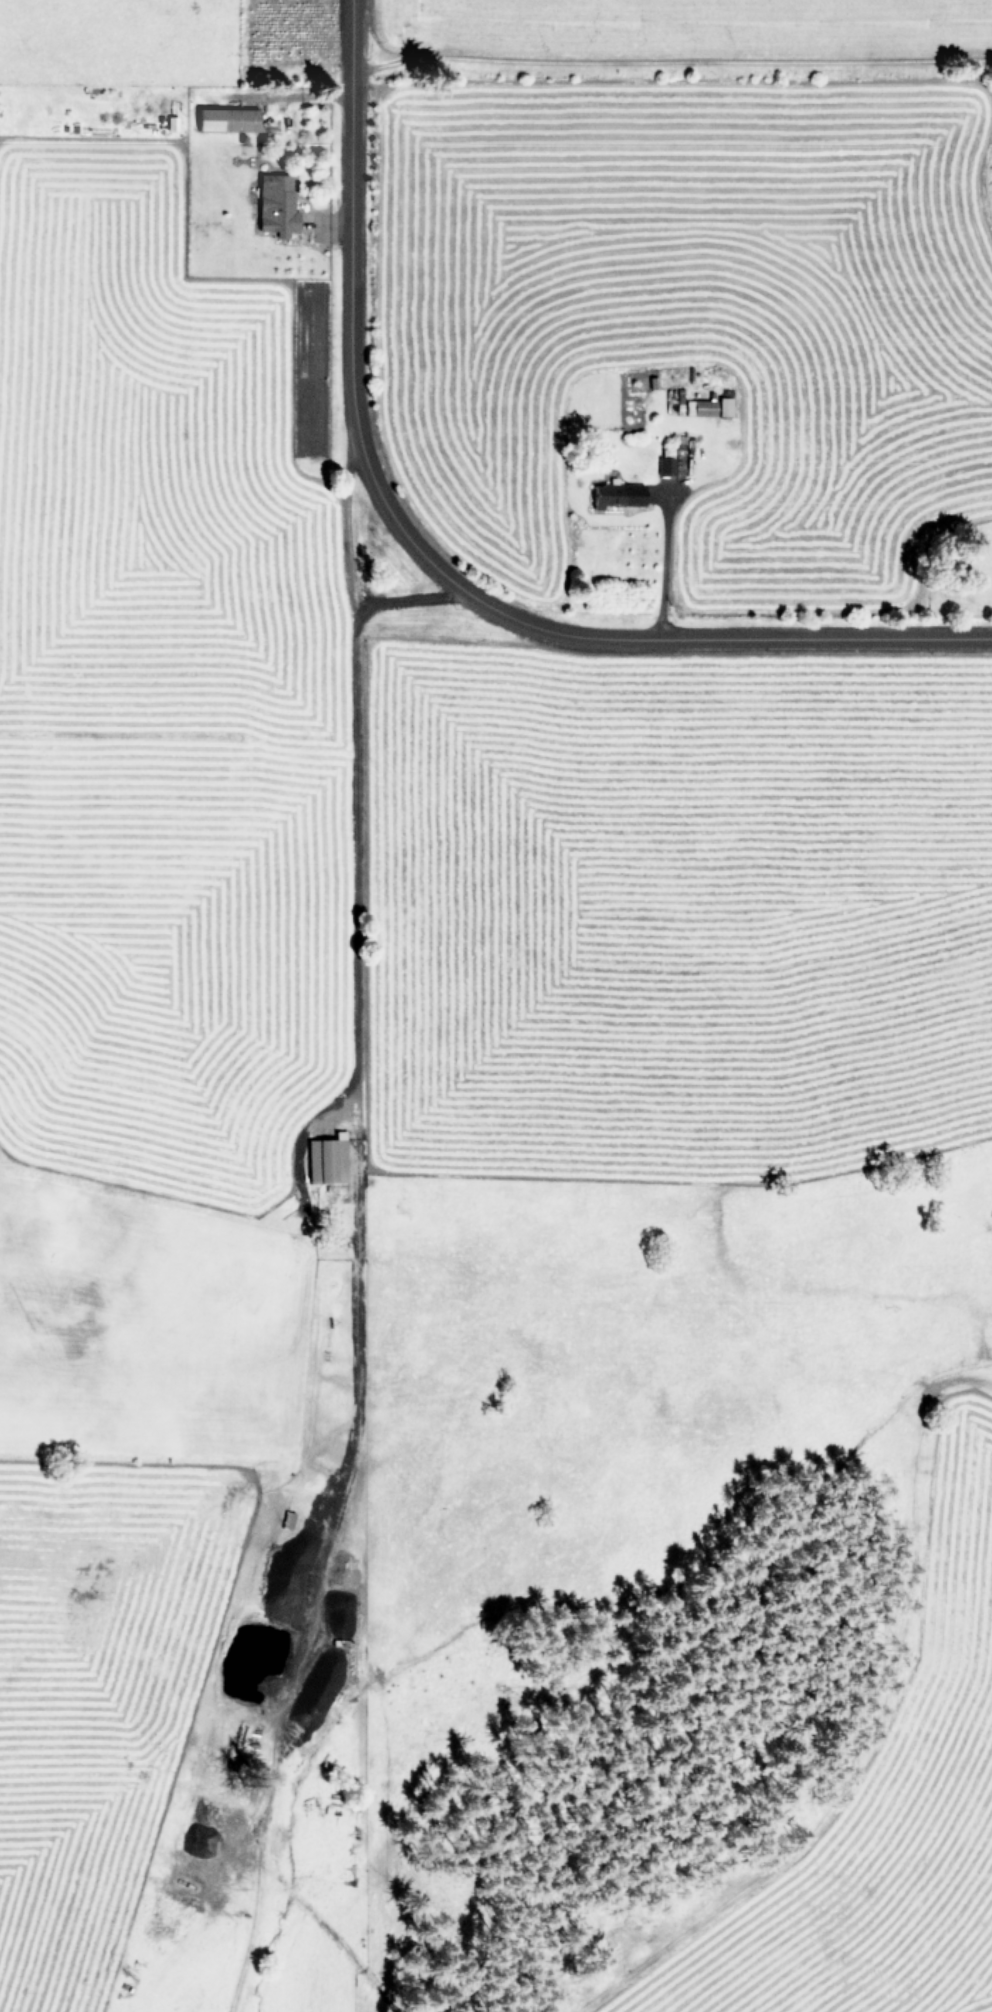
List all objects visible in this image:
road: (670, 62)
building: (226, 119)
building: (276, 204)
road: (347, 216)
building: (724, 405)
building: (700, 406)
building: (617, 494)
road: (661, 566)
road: (411, 601)
road: (623, 639)
road: (351, 785)
crop: (423, 1124)
building: (327, 1159)
road: (961, 1384)
road: (302, 1574)

